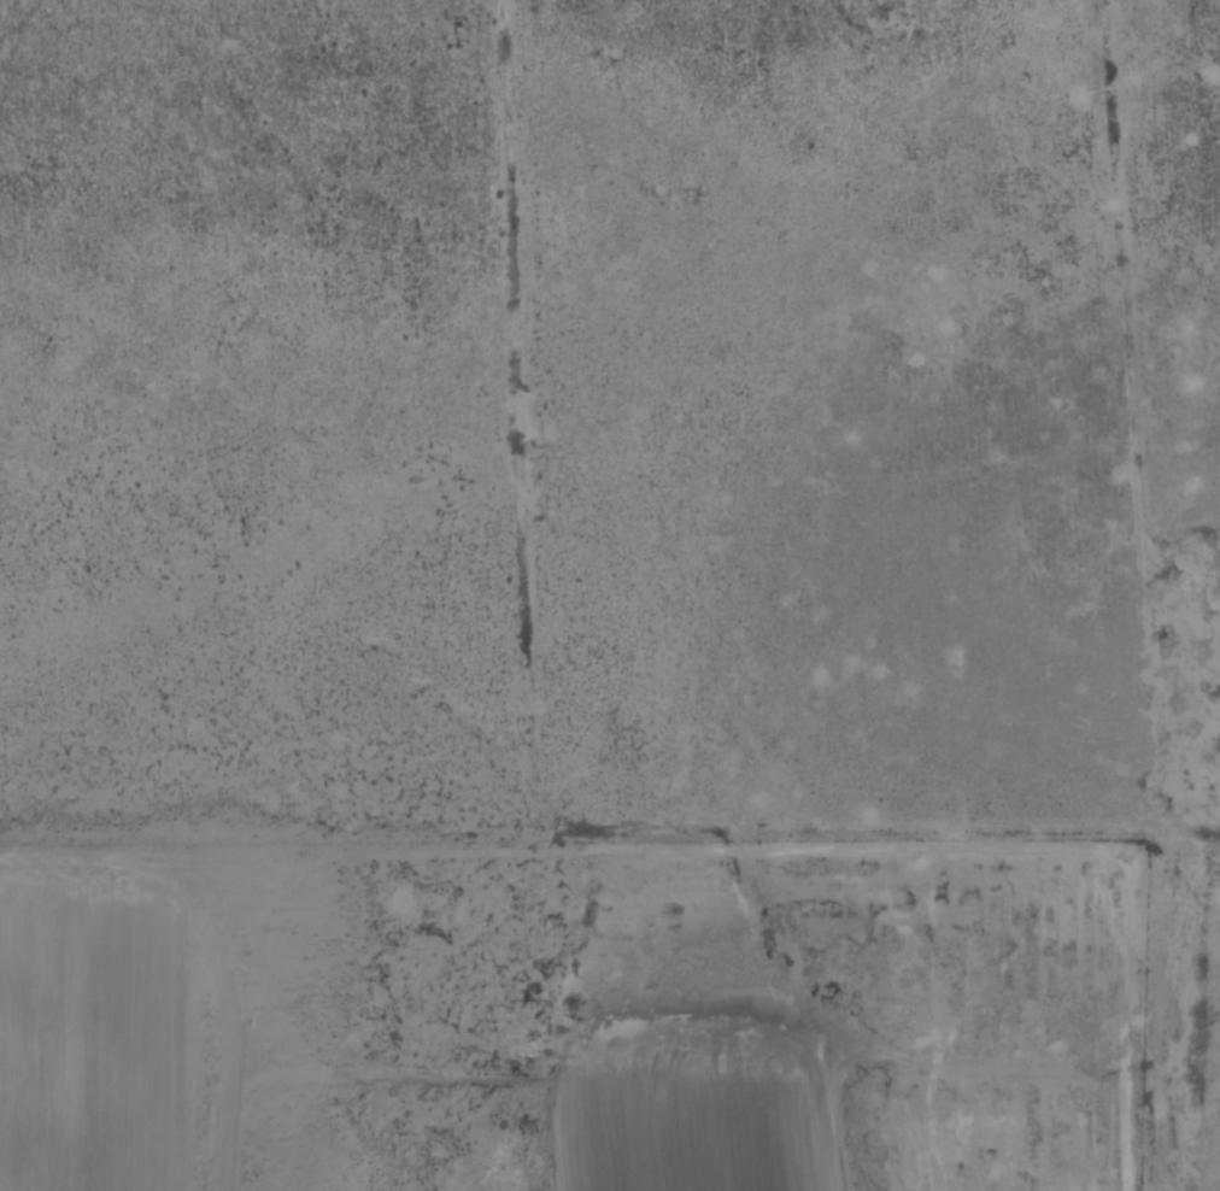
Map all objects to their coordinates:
landfill: (80, 1039)
landfill: (676, 1138)

